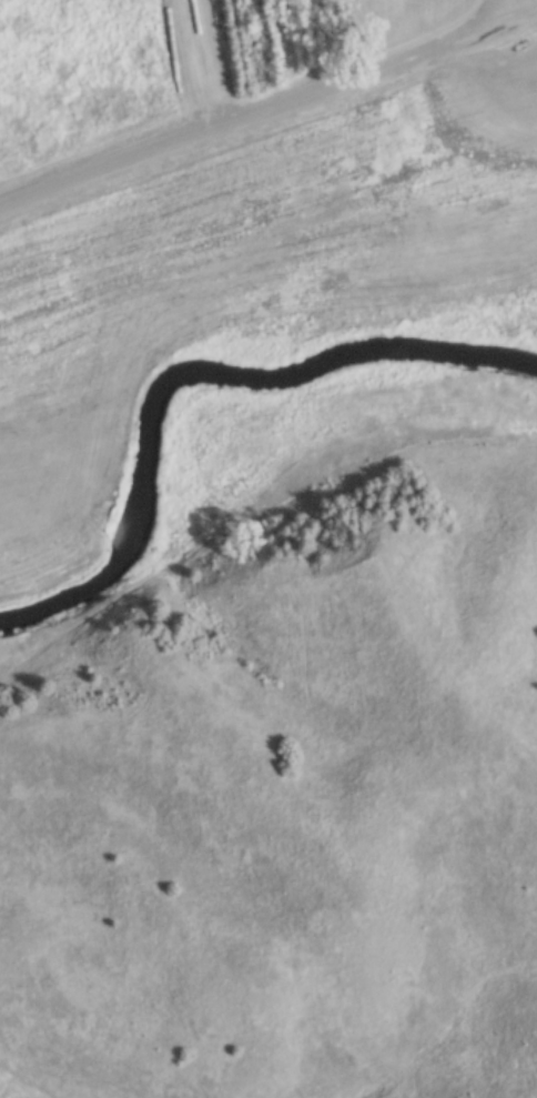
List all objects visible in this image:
road: (485, 24)
road: (236, 122)
river: (190, 369)

